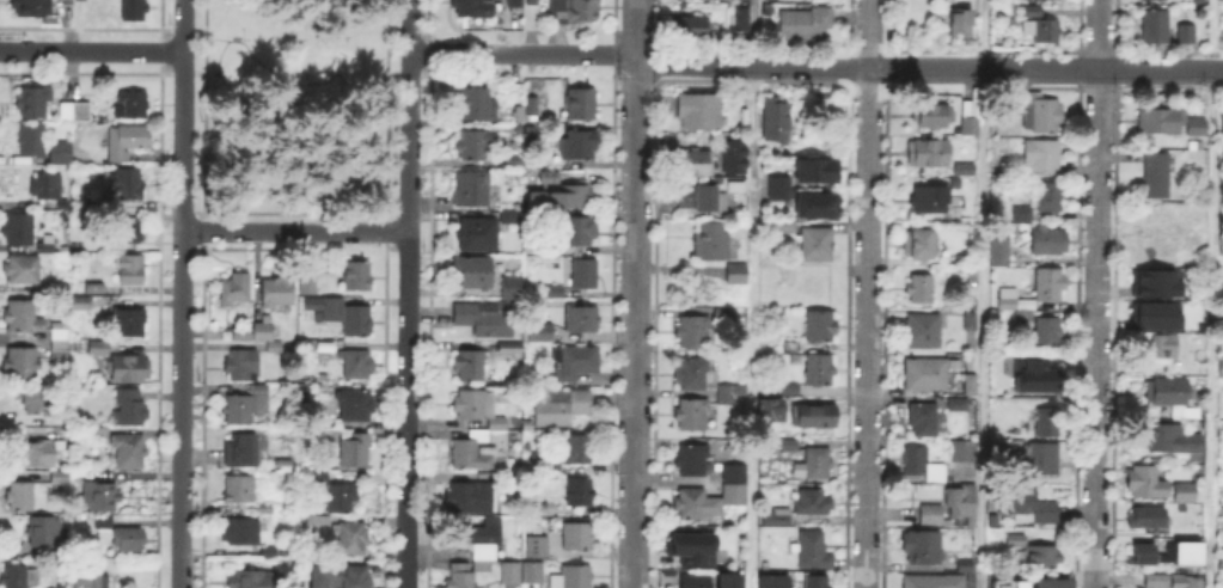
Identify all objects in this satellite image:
building: (1155, 0)
building: (62, 1)
building: (532, 2)
building: (515, 4)
building: (31, 8)
building: (471, 8)
building: (135, 11)
building: (574, 12)
building: (1031, 12)
building: (962, 19)
building: (805, 24)
building: (692, 29)
building: (1156, 29)
building: (1042, 31)
road: (753, 32)
building: (1186, 35)
road: (92, 50)
road: (526, 51)
road: (868, 66)
road: (1155, 68)
road: (1217, 69)
building: (528, 103)
building: (32, 104)
park: (295, 105)
building: (476, 106)
building: (581, 106)
building: (130, 108)
building: (699, 111)
building: (75, 114)
building: (1042, 115)
building: (932, 116)
building: (776, 121)
building: (1161, 122)
building: (1221, 122)
building: (971, 127)
building: (1197, 128)
building: (32, 142)
building: (128, 143)
building: (473, 146)
building: (580, 146)
building: (61, 154)
building: (929, 154)
building: (1042, 155)
building: (730, 158)
building: (516, 163)
building: (697, 164)
building: (813, 169)
building: (966, 169)
building: (1157, 177)
building: (128, 185)
building: (775, 185)
building: (47, 188)
building: (472, 188)
building: (570, 197)
building: (1050, 198)
building: (702, 200)
building: (932, 201)
building: (105, 203)
building: (814, 203)
building: (63, 206)
building: (1023, 215)
building: (509, 216)
building: (19, 229)
road: (295, 229)
building: (133, 232)
building: (580, 232)
building: (781, 232)
building: (1222, 233)
building: (477, 235)
building: (1050, 241)
building: (921, 244)
building: (711, 245)
building: (818, 245)
building: (551, 250)
building: (1001, 253)
building: (1163, 253)
building: (98, 259)
building: (23, 270)
building: (132, 270)
building: (473, 272)
building: (586, 275)
building: (738, 275)
building: (357, 277)
building: (974, 277)
building: (1154, 282)
building: (310, 286)
building: (1050, 286)
building: (512, 288)
building: (236, 289)
building: (921, 289)
road: (181, 293)
building: (279, 293)
road: (408, 293)
building: (555, 293)
road: (980, 293)
road: (1211, 293)
road: (636, 294)
road: (867, 294)
road: (1096, 294)
building: (1005, 296)
building: (79, 304)
building: (1017, 307)
building: (723, 314)
building: (1154, 314)
building: (343, 316)
building: (22, 318)
building: (968, 318)
building: (485, 320)
building: (581, 321)
building: (129, 326)
road: (751, 326)
building: (820, 329)
building: (692, 331)
building: (1047, 331)
building: (255, 332)
building: (923, 332)
building: (539, 333)
building: (61, 342)
building: (96, 345)
building: (326, 345)
building: (789, 345)
building: (275, 347)
building: (305, 347)
building: (1164, 348)
building: (575, 363)
building: (241, 366)
building: (357, 366)
building: (22, 367)
building: (469, 367)
building: (1222, 369)
building: (129, 370)
building: (820, 372)
building: (929, 373)
building: (1032, 374)
building: (696, 376)
building: (971, 385)
building: (789, 390)
building: (1168, 392)
building: (730, 394)
building: (35, 402)
building: (959, 405)
building: (245, 406)
building: (353, 406)
building: (772, 406)
building: (562, 408)
building: (479, 409)
building: (130, 410)
building: (691, 415)
building: (814, 417)
building: (924, 421)
building: (1048, 423)
building: (100, 434)
building: (1158, 435)
building: (790, 447)
building: (355, 449)
building: (579, 449)
building: (42, 451)
building: (1002, 451)
building: (130, 452)
building: (243, 452)
building: (471, 452)
building: (964, 452)
building: (544, 458)
building: (1042, 459)
building: (693, 461)
building: (818, 464)
building: (928, 467)
building: (735, 473)
building: (1148, 484)
building: (239, 490)
building: (580, 492)
building: (735, 494)
building: (1186, 494)
building: (20, 497)
building: (100, 497)
building: (342, 497)
building: (464, 498)
building: (964, 503)
building: (691, 506)
building: (809, 506)
building: (1028, 507)
building: (269, 509)
building: (932, 516)
building: (778, 519)
building: (1148, 519)
building: (1222, 519)
building: (103, 522)
building: (314, 522)
building: (241, 532)
building: (43, 533)
building: (577, 537)
building: (351, 538)
building: (1017, 540)
building: (130, 541)
building: (1176, 543)
building: (481, 545)
building: (693, 546)
building: (538, 547)
building: (923, 550)
building: (814, 551)
building: (1146, 556)
building: (1040, 557)
building: (967, 568)
building: (510, 572)
building: (533, 574)
building: (455, 575)
building: (338, 577)
building: (577, 577)
building: (14, 578)
building: (88, 578)
building: (770, 580)
building: (255, 581)
building: (707, 582)
building: (935, 582)
building: (1156, 582)
building: (1186, 582)
building: (817, 583)
building: (1005, 583)
building: (1053, 583)

